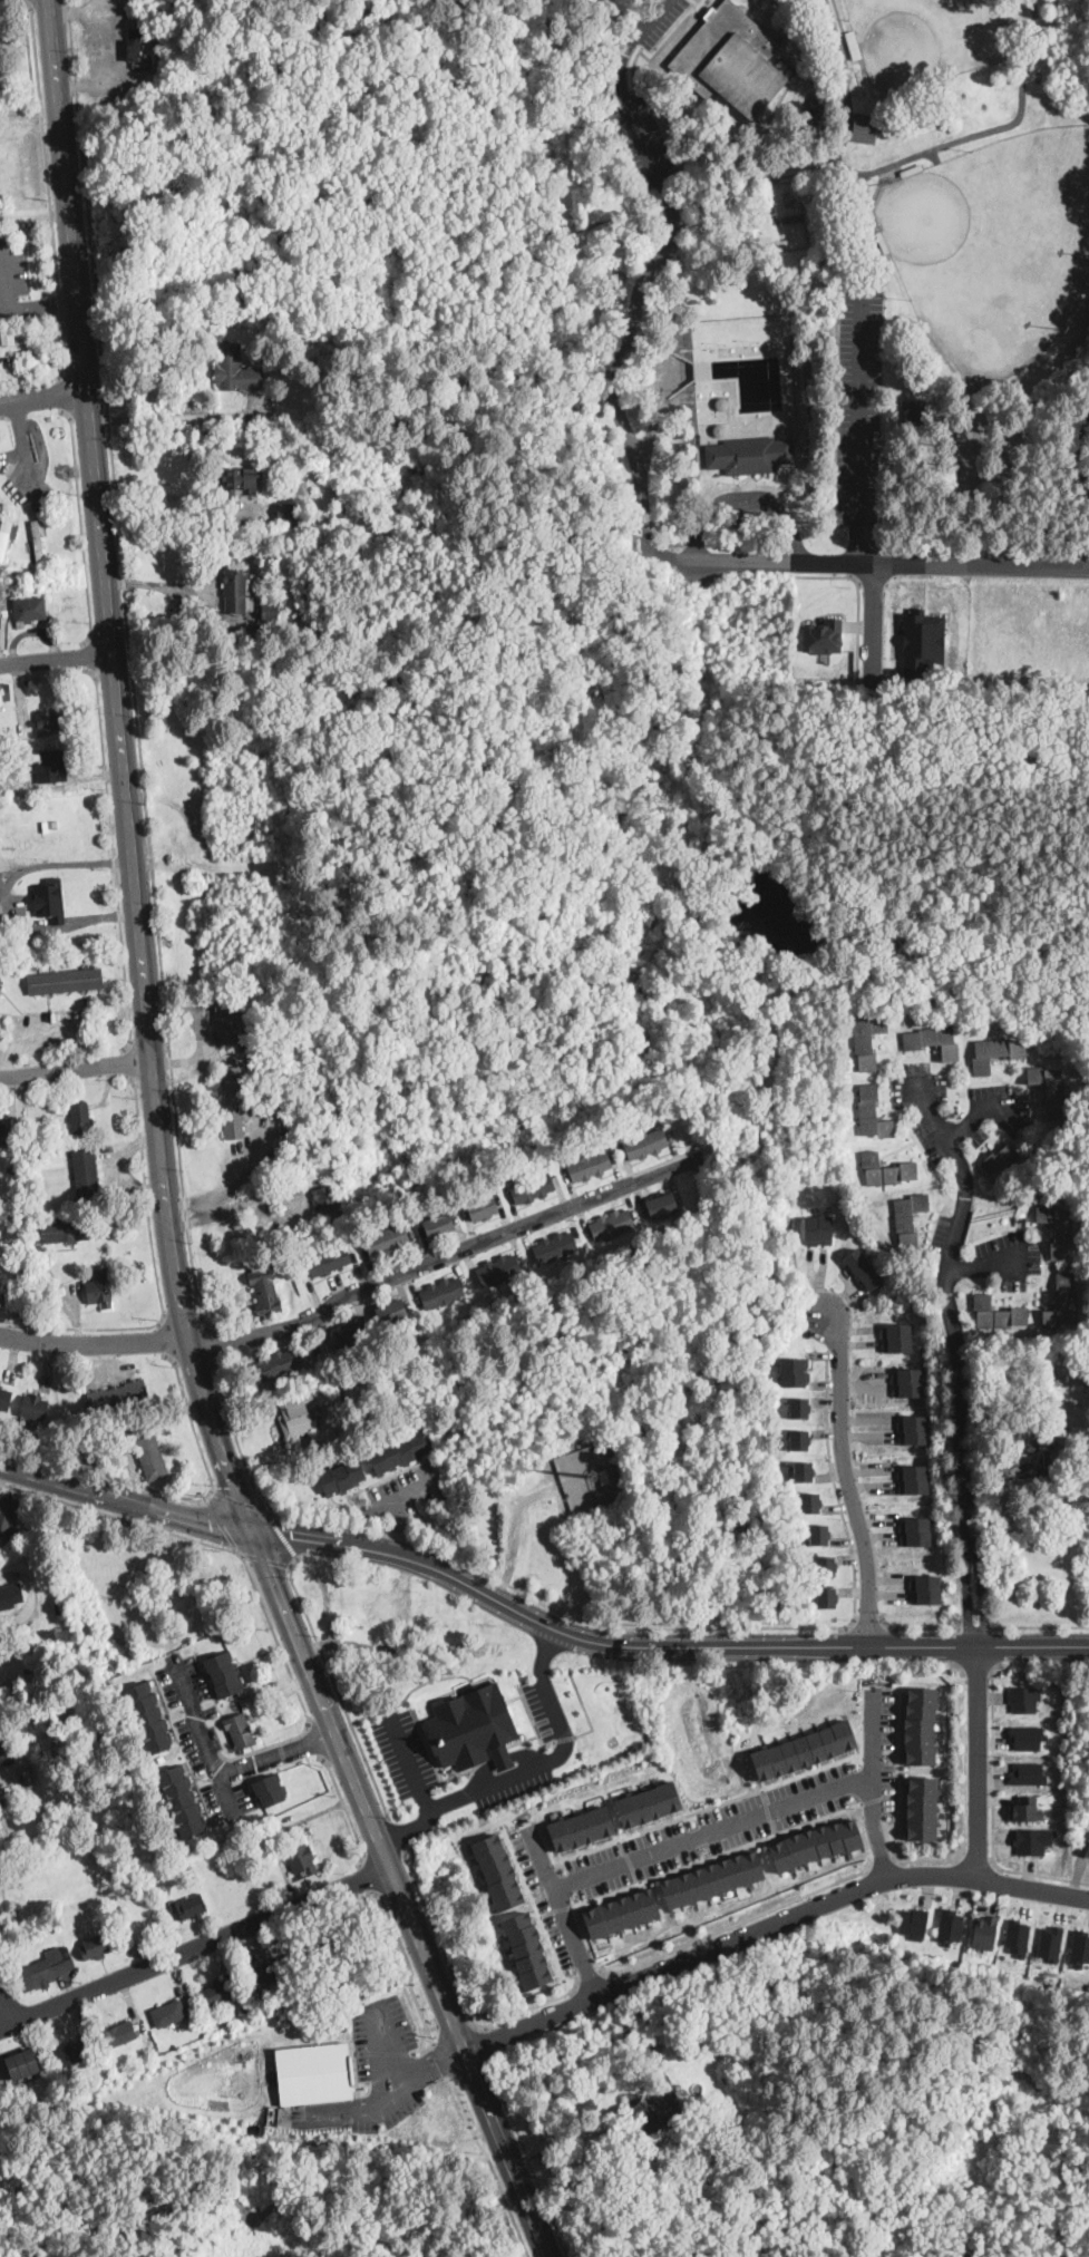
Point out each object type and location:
road: (27, 1)
park: (927, 37)
road: (839, 40)
building: (853, 42)
building: (139, 48)
building: (731, 60)
building: (926, 85)
building: (817, 110)
building: (864, 126)
road: (45, 145)
building: (911, 168)
building: (869, 193)
building: (791, 216)
building: (882, 241)
park: (993, 245)
road: (650, 271)
road: (3, 280)
park: (828, 291)
road: (59, 305)
road: (42, 308)
building: (22, 334)
building: (8, 335)
road: (65, 350)
building: (274, 353)
building: (282, 366)
building: (236, 370)
road: (42, 393)
road: (64, 395)
road: (858, 403)
building: (915, 416)
road: (171, 417)
road: (22, 446)
building: (749, 455)
building: (241, 480)
building: (272, 486)
road: (747, 495)
building: (340, 507)
building: (416, 507)
building: (370, 509)
road: (153, 510)
building: (291, 512)
road: (81, 526)
building: (3, 536)
building: (38, 542)
road: (855, 543)
road: (879, 561)
building: (4, 586)
road: (162, 586)
building: (265, 588)
building: (237, 590)
road: (858, 600)
building: (1, 606)
building: (30, 610)
building: (272, 610)
building: (329, 626)
road: (873, 628)
building: (821, 635)
building: (923, 641)
road: (89, 655)
road: (56, 659)
road: (132, 665)
building: (4, 692)
building: (48, 722)
building: (48, 763)
road: (124, 770)
road: (114, 859)
building: (341, 873)
road: (4, 901)
building: (51, 901)
building: (0, 974)
building: (0, 979)
building: (66, 982)
building: (227, 1023)
building: (868, 1040)
building: (934, 1041)
building: (995, 1052)
building: (273, 1054)
road: (127, 1063)
building: (354, 1064)
road: (76, 1069)
building: (426, 1073)
building: (270, 1074)
building: (1050, 1089)
building: (233, 1100)
road: (927, 1108)
road: (975, 1110)
building: (872, 1113)
building: (81, 1118)
building: (3, 1136)
building: (10, 1138)
building: (42, 1141)
building: (645, 1144)
building: (1031, 1144)
building: (33, 1149)
building: (1001, 1157)
building: (590, 1166)
building: (13, 1169)
building: (887, 1170)
building: (87, 1175)
road: (231, 1180)
building: (1, 1187)
building: (533, 1188)
building: (324, 1198)
building: (661, 1204)
building: (483, 1207)
building: (910, 1218)
road: (193, 1219)
building: (611, 1225)
building: (818, 1228)
building: (1058, 1228)
building: (65, 1229)
building: (435, 1229)
building: (387, 1239)
building: (555, 1247)
building: (329, 1261)
road: (985, 1265)
building: (499, 1269)
building: (863, 1269)
road: (156, 1276)
building: (100, 1288)
building: (266, 1291)
road: (350, 1292)
building: (443, 1293)
road: (66, 1301)
building: (1063, 1303)
building: (391, 1312)
building: (998, 1314)
building: (350, 1335)
road: (163, 1336)
building: (897, 1337)
road: (210, 1340)
building: (317, 1349)
building: (275, 1365)
building: (794, 1371)
building: (1058, 1381)
building: (908, 1382)
building: (0, 1384)
road: (960, 1385)
building: (356, 1390)
building: (118, 1397)
building: (4, 1398)
building: (33, 1405)
building: (799, 1407)
road: (191, 1418)
building: (295, 1418)
building: (914, 1430)
road: (234, 1436)
building: (343, 1436)
building: (799, 1439)
building: (398, 1451)
building: (1032, 1457)
building: (152, 1458)
building: (803, 1470)
road: (106, 1473)
building: (603, 1475)
building: (340, 1476)
road: (848, 1479)
building: (913, 1479)
road: (834, 1483)
parking lot: (401, 1491)
road: (235, 1497)
road: (127, 1498)
road: (392, 1500)
building: (809, 1502)
building: (8, 1512)
road: (120, 1516)
road: (220, 1521)
road: (515, 1529)
traffic signals: (255, 1530)
building: (915, 1531)
road: (280, 1533)
building: (818, 1534)
road: (324, 1540)
road: (265, 1558)
building: (825, 1566)
road: (4, 1573)
road: (419, 1578)
building: (925, 1589)
building: (10, 1596)
building: (826, 1597)
road: (552, 1605)
road: (867, 1618)
road: (916, 1625)
road: (974, 1625)
road: (1039, 1625)
road: (600, 1641)
road: (545, 1643)
road: (957, 1645)
road: (543, 1652)
road: (253, 1655)
road: (1042, 1661)
road: (765, 1663)
road: (979, 1664)
building: (223, 1673)
road: (243, 1674)
road: (294, 1683)
road: (334, 1683)
road: (154, 1686)
road: (409, 1690)
road: (513, 1697)
building: (1024, 1697)
road: (162, 1699)
road: (584, 1708)
building: (148, 1716)
road: (251, 1719)
road: (532, 1722)
road: (173, 1723)
road: (256, 1724)
building: (922, 1724)
building: (473, 1726)
building: (241, 1731)
road: (201, 1735)
building: (1028, 1735)
road: (565, 1736)
road: (315, 1739)
road: (175, 1740)
road: (522, 1740)
road: (279, 1742)
building: (805, 1748)
road: (872, 1750)
road: (889, 1750)
road: (282, 1751)
road: (221, 1754)
road: (275, 1754)
parking lot: (405, 1754)
road: (237, 1755)
road: (432, 1758)
road: (502, 1759)
building: (4, 1760)
parking lot: (876, 1761)
road: (978, 1761)
building: (58, 1763)
road: (214, 1763)
road: (240, 1765)
road: (188, 1770)
building: (1028, 1772)
building: (27, 1777)
road: (869, 1782)
road: (485, 1787)
building: (269, 1789)
road: (250, 1790)
road: (201, 1793)
building: (182, 1800)
building: (649, 1802)
road: (711, 1804)
building: (923, 1807)
building: (1025, 1808)
road: (346, 1810)
road: (897, 1810)
road: (992, 1811)
road: (406, 1827)
building: (581, 1827)
road: (712, 1832)
road: (395, 1833)
building: (1088, 1833)
building: (1033, 1839)
building: (815, 1843)
building: (1085, 1846)
parking lot: (669, 1847)
building: (302, 1857)
road: (975, 1857)
road: (881, 1858)
road: (629, 1859)
building: (498, 1870)
road: (664, 1872)
road: (366, 1877)
building: (712, 1878)
building: (147, 1886)
road: (400, 1893)
building: (130, 1895)
road: (532, 1903)
building: (191, 1907)
road: (553, 1908)
road: (563, 1911)
building: (622, 1913)
building: (58, 1916)
road: (740, 1920)
building: (913, 1922)
building: (950, 1924)
road: (770, 1925)
building: (94, 1927)
building: (984, 1929)
building: (1018, 1936)
road: (439, 1939)
building: (1051, 1942)
building: (1079, 1946)
building: (96, 1947)
road: (195, 1947)
building: (527, 1947)
building: (334, 1949)
road: (409, 1964)
building: (43, 1971)
building: (269, 1973)
road: (589, 1978)
building: (223, 1988)
building: (336, 1992)
road: (7, 2005)
road: (533, 2005)
building: (169, 2013)
building: (247, 2013)
road: (457, 2023)
road: (434, 2025)
building: (119, 2033)
road: (486, 2040)
road: (422, 2042)
road: (386, 2043)
building: (76, 2052)
road: (441, 2060)
building: (22, 2064)
parking lot: (376, 2071)
building: (314, 2072)
building: (82, 2079)
road: (478, 2079)
building: (728, 2079)
road: (459, 2086)
road: (390, 2092)
building: (654, 2108)
road: (527, 2156)
road: (490, 2166)
road: (631, 2200)

